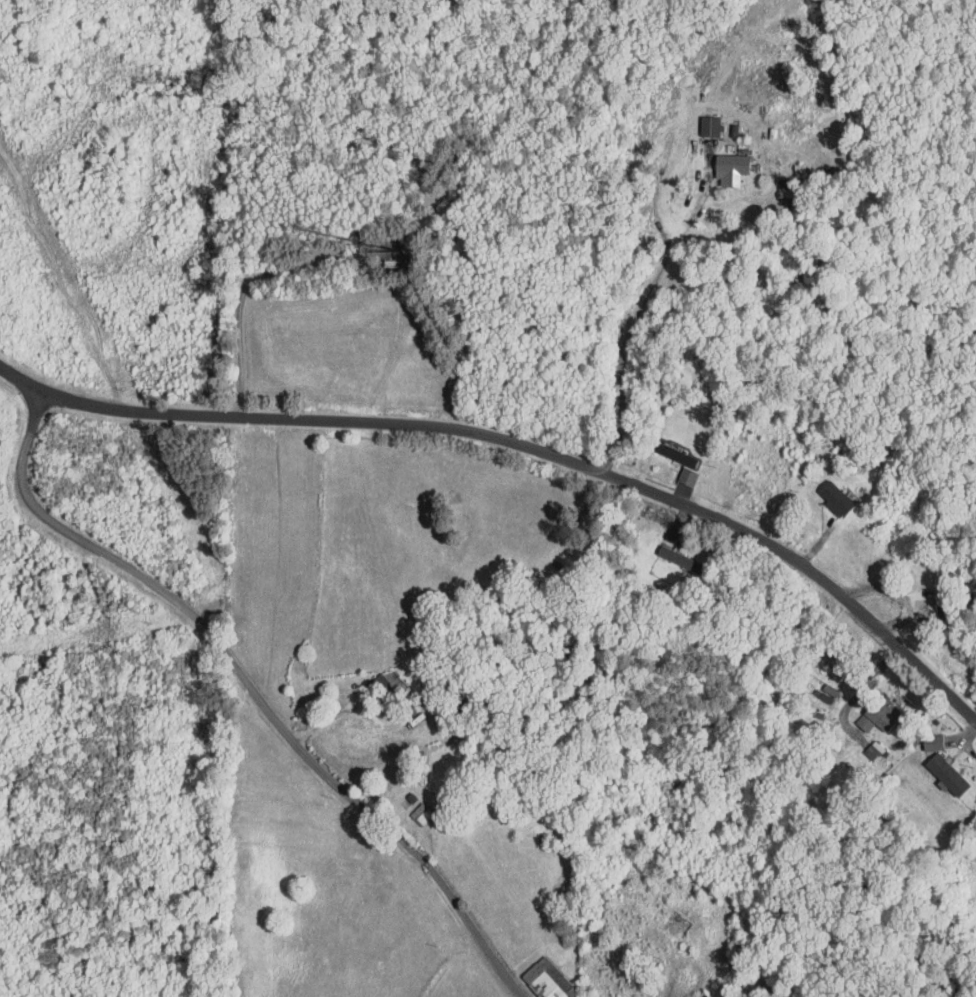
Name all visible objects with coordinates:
building: (698, 121)
building: (718, 163)
road: (664, 265)
road: (524, 446)
building: (664, 448)
building: (822, 492)
building: (664, 551)
road: (864, 685)
road: (250, 691)
building: (866, 710)
road: (344, 711)
building: (920, 737)
building: (935, 769)
building: (409, 808)
building: (536, 977)
road: (681, 988)

